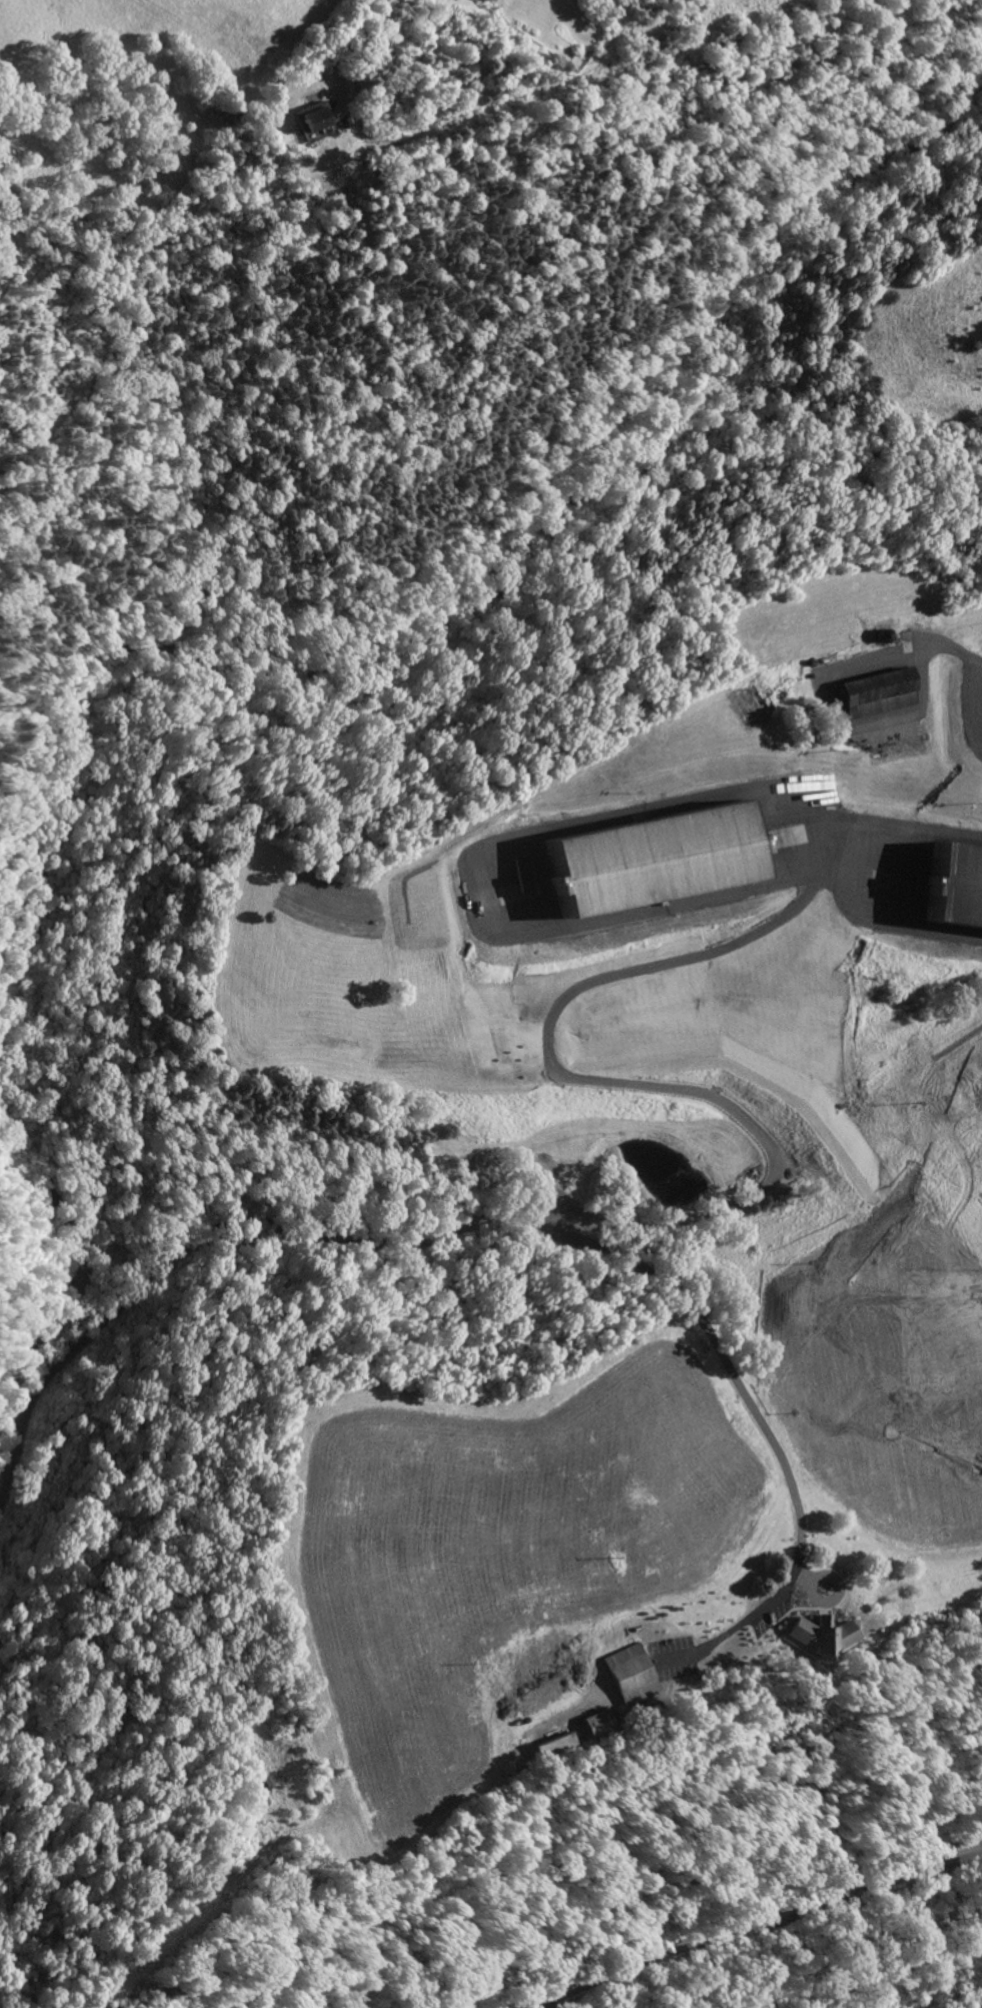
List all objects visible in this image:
road: (341, 32)
building: (310, 117)
road: (951, 651)
building: (877, 691)
road: (839, 720)
road: (886, 836)
building: (780, 837)
building: (653, 857)
road: (486, 861)
building: (955, 886)
road: (627, 1224)
building: (961, 1264)
road: (768, 1433)
building: (578, 1475)
building: (820, 1633)
building: (631, 1671)
building: (596, 1721)
building: (554, 1742)
road: (752, 1921)

